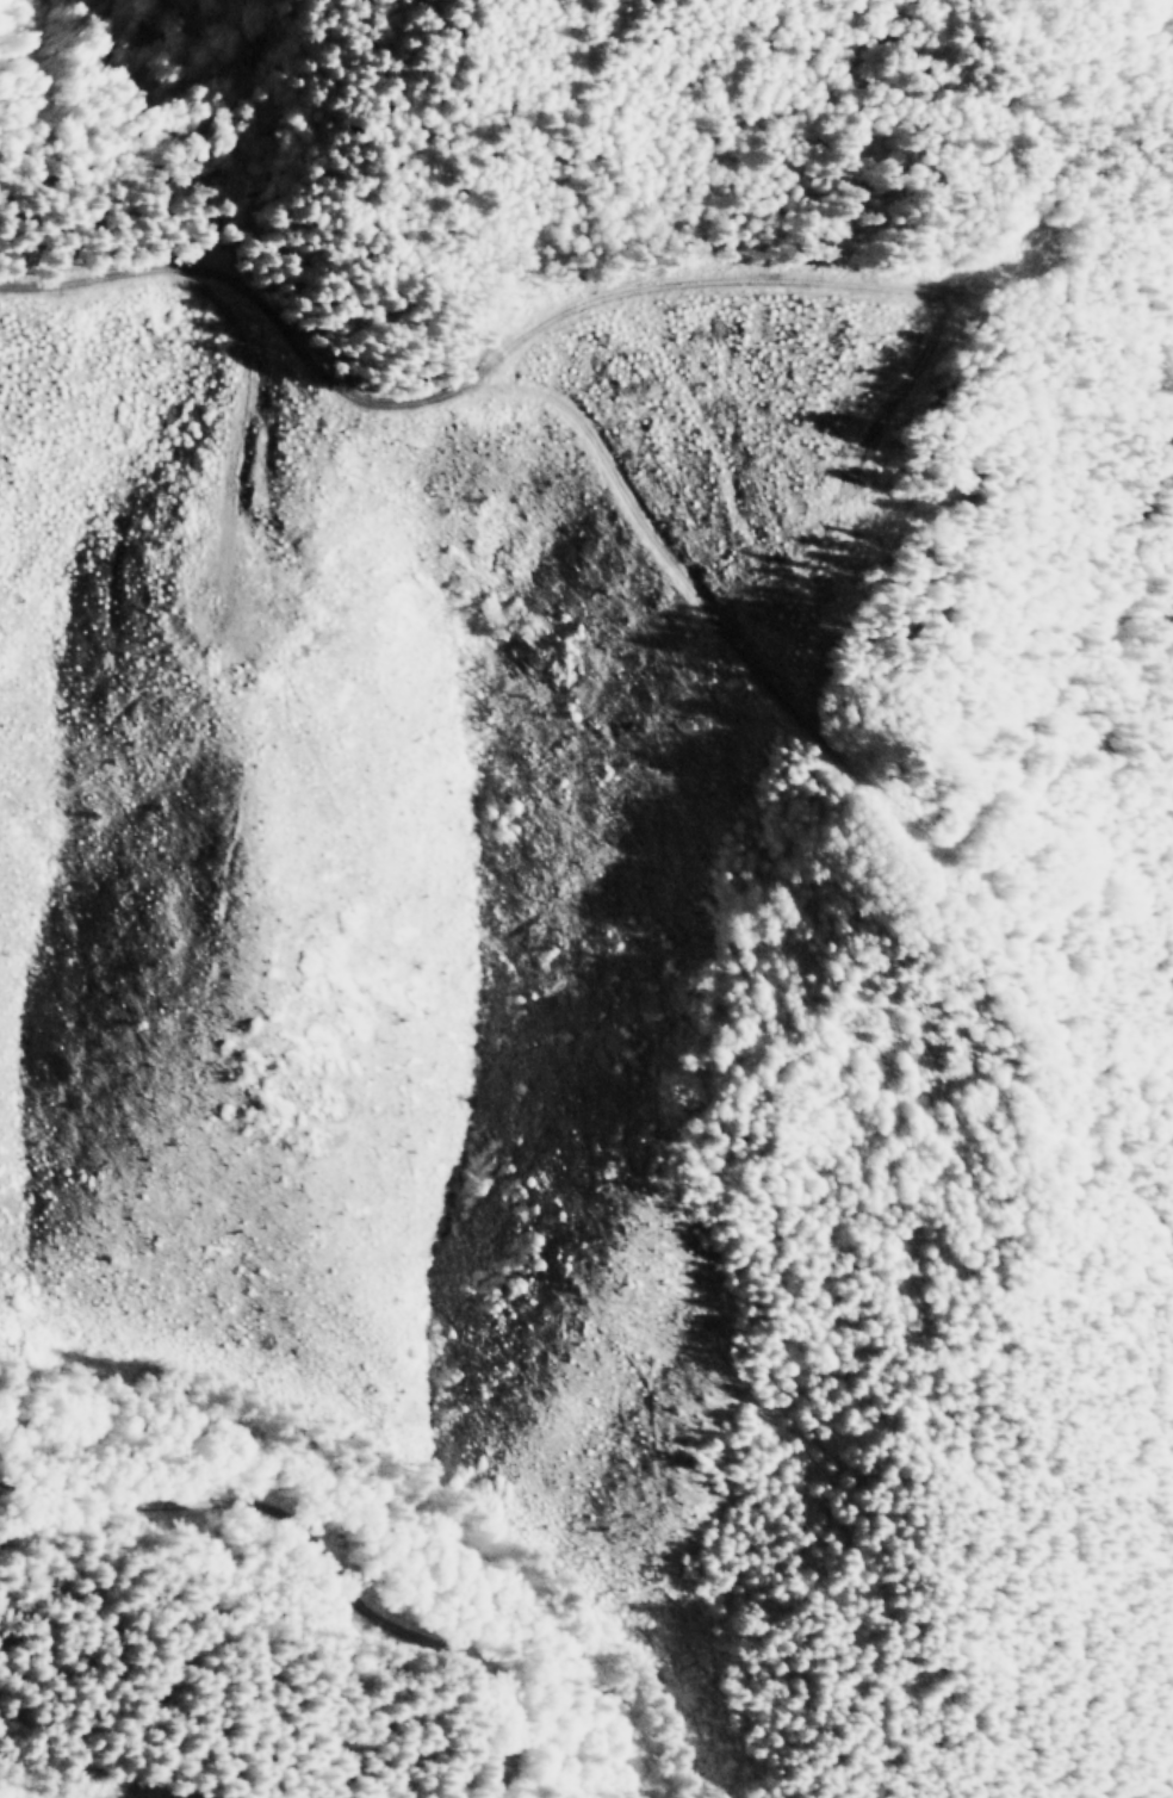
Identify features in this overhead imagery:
road: (682, 652)
road: (286, 1642)

